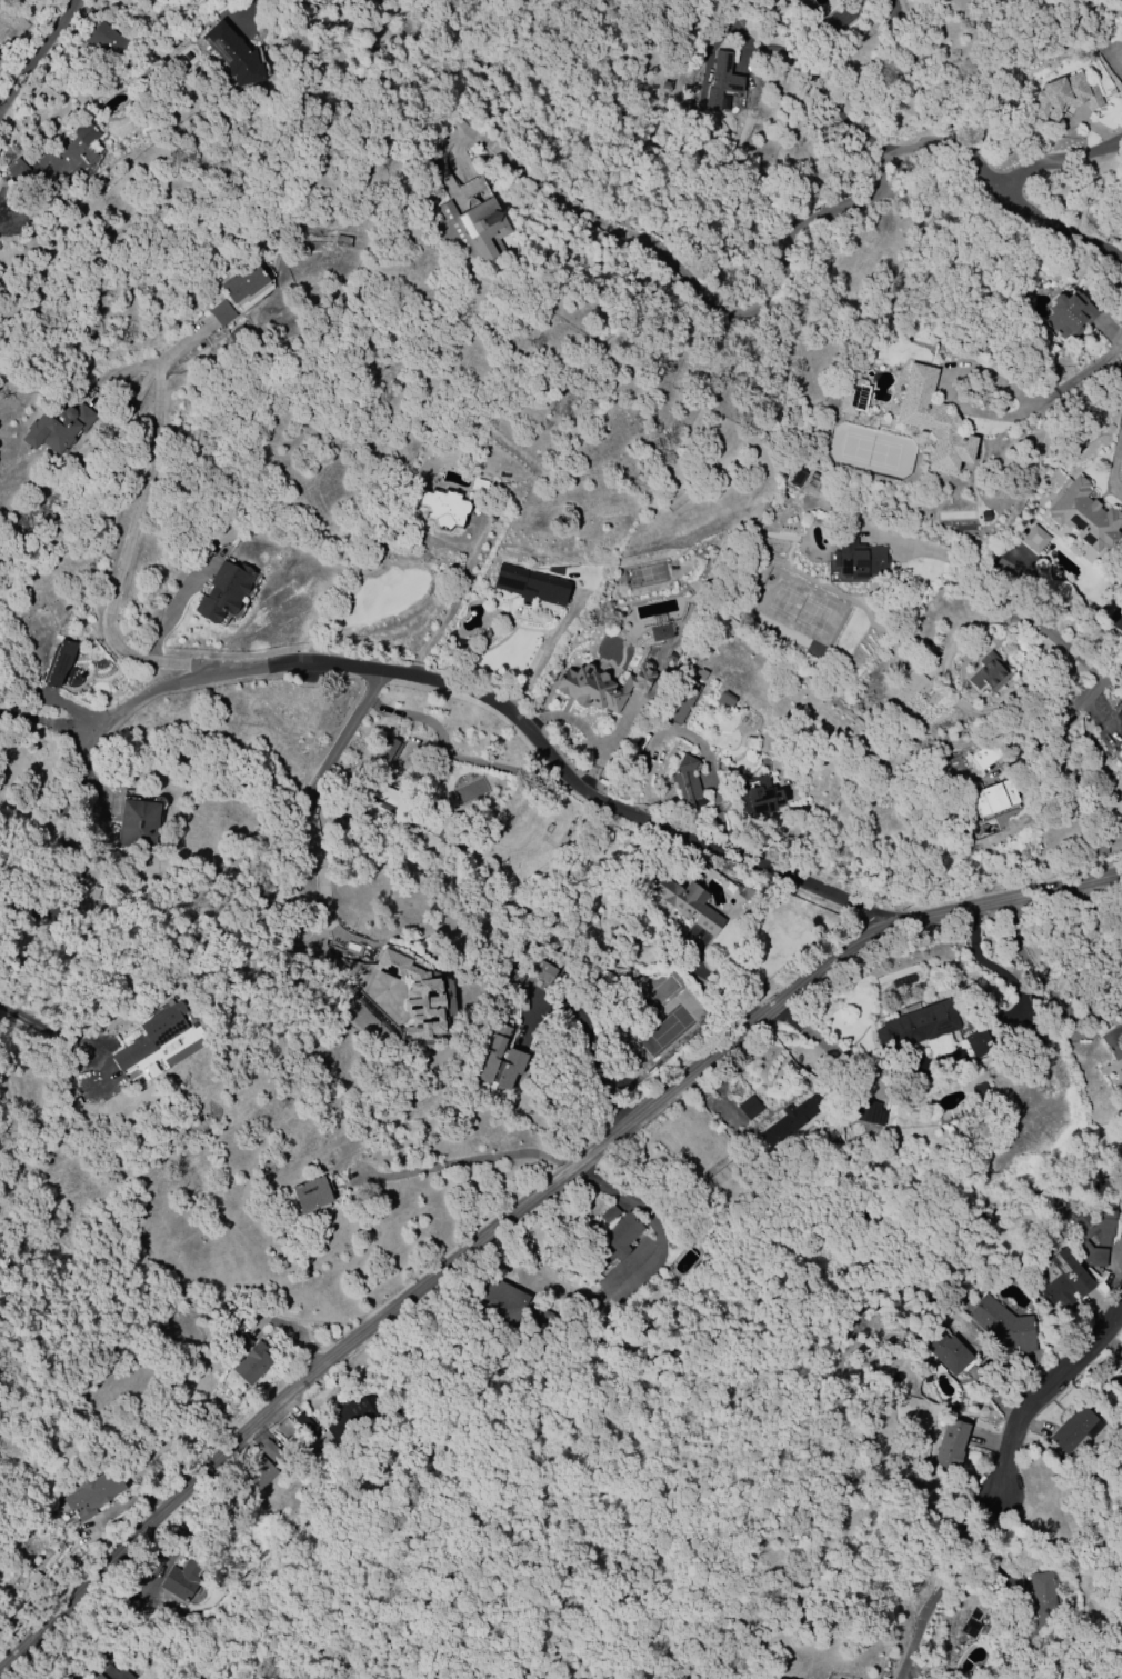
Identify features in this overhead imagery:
road: (249, 12)
building: (106, 40)
road: (27, 51)
building: (232, 54)
road: (923, 69)
building: (720, 81)
road: (822, 88)
building: (1063, 97)
building: (56, 161)
road: (1059, 163)
road: (1000, 191)
building: (472, 229)
building: (341, 241)
building: (243, 282)
building: (221, 313)
building: (1069, 314)
road: (1084, 374)
road: (950, 387)
building: (853, 396)
building: (932, 421)
building: (56, 428)
road: (1119, 461)
building: (478, 484)
building: (443, 509)
building: (1083, 516)
road: (132, 532)
building: (1033, 539)
building: (858, 557)
building: (530, 587)
building: (223, 591)
road: (1023, 596)
road: (176, 603)
road: (452, 606)
road: (543, 657)
building: (58, 663)
building: (986, 671)
building: (700, 674)
building: (911, 679)
building: (599, 688)
building: (724, 700)
building: (681, 704)
building: (1119, 712)
road: (507, 713)
road: (1059, 721)
road: (48, 727)
road: (341, 738)
building: (388, 750)
building: (986, 754)
road: (451, 757)
road: (87, 768)
building: (687, 781)
building: (757, 797)
building: (992, 798)
building: (388, 802)
building: (137, 824)
building: (1099, 847)
road: (72, 865)
road: (322, 888)
building: (681, 901)
road: (1023, 957)
road: (992, 967)
building: (541, 971)
road: (712, 982)
building: (414, 995)
building: (1118, 1007)
building: (918, 1026)
road: (48, 1029)
building: (151, 1035)
building: (1112, 1042)
building: (978, 1043)
building: (500, 1061)
building: (749, 1108)
building: (866, 1112)
building: (791, 1120)
road: (468, 1161)
building: (723, 1172)
building: (311, 1193)
road: (525, 1203)
building: (609, 1213)
building: (1076, 1237)
building: (615, 1240)
building: (1065, 1279)
building: (502, 1301)
building: (234, 1325)
building: (1003, 1325)
building: (242, 1341)
building: (943, 1350)
building: (252, 1362)
building: (1120, 1369)
building: (1121, 1376)
road: (1042, 1390)
building: (347, 1417)
building: (304, 1423)
building: (1074, 1429)
building: (950, 1445)
building: (269, 1451)
building: (258, 1472)
building: (92, 1495)
building: (180, 1580)
road: (939, 1580)
building: (1036, 1605)
building: (971, 1623)
building: (112, 1673)

